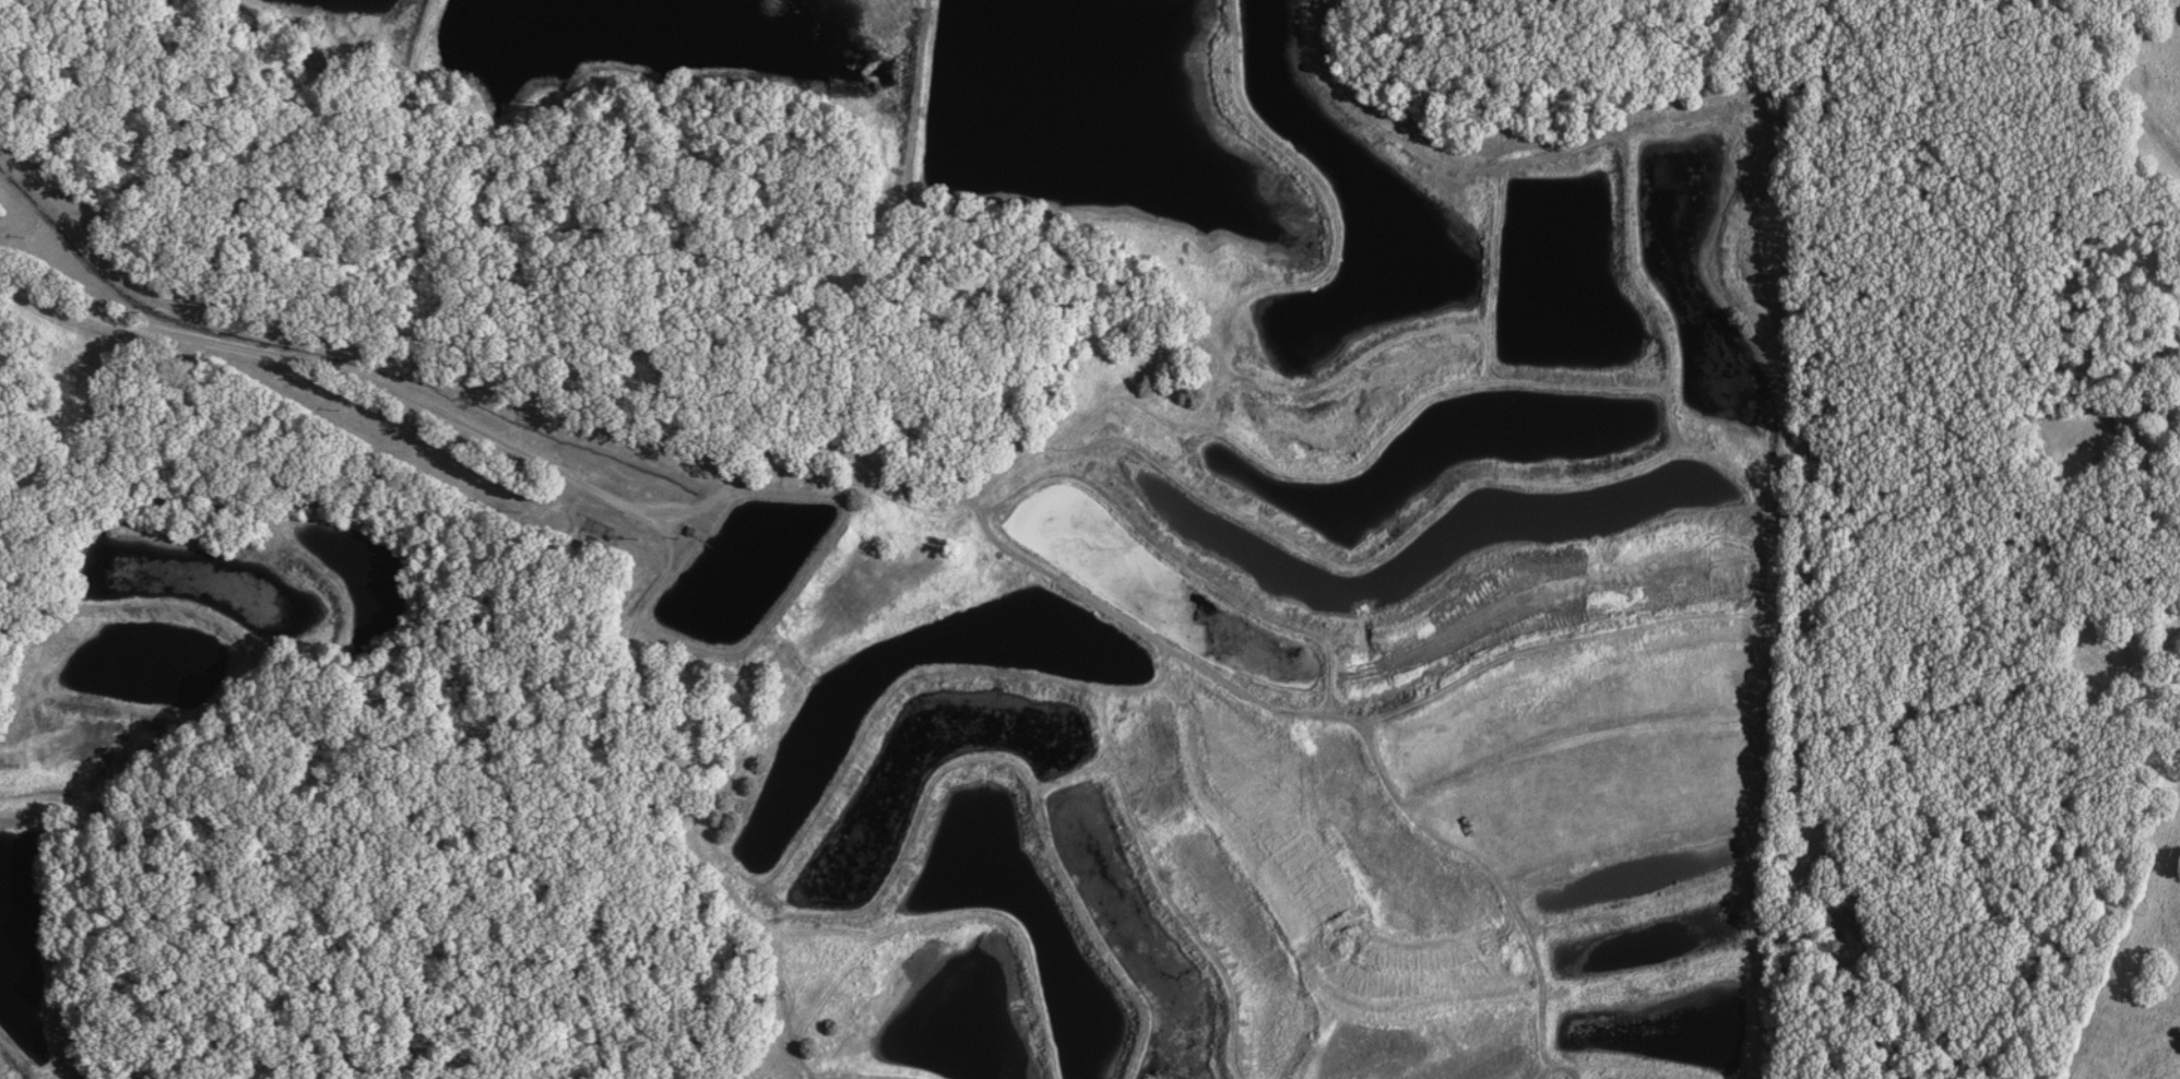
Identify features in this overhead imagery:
road: (318, 382)

